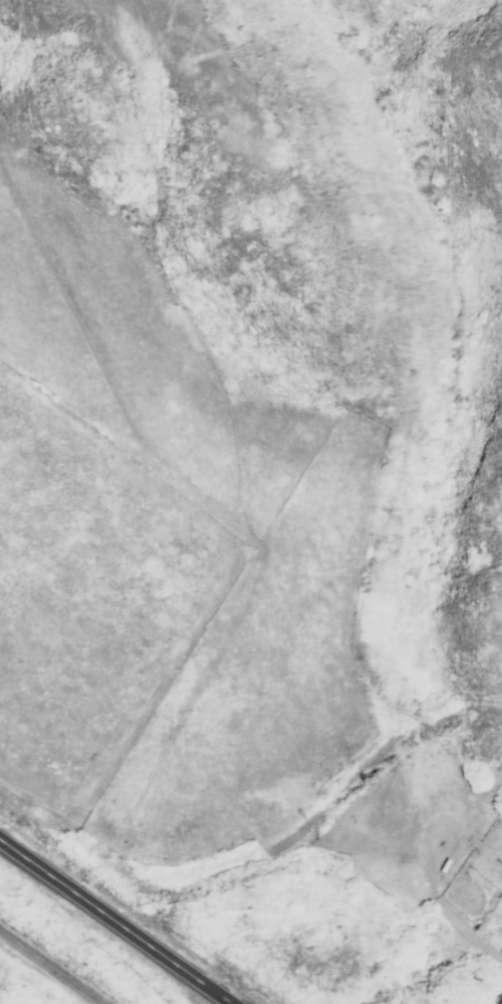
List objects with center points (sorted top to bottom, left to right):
road: (137, 7)
road: (251, 538)
road: (234, 552)
crop: (84, 599)
road: (375, 761)
road: (489, 791)
road: (471, 801)
road: (40, 803)
road: (360, 852)
road: (203, 880)
road: (115, 921)
road: (466, 931)
railway: (52, 966)
park: (18, 991)

